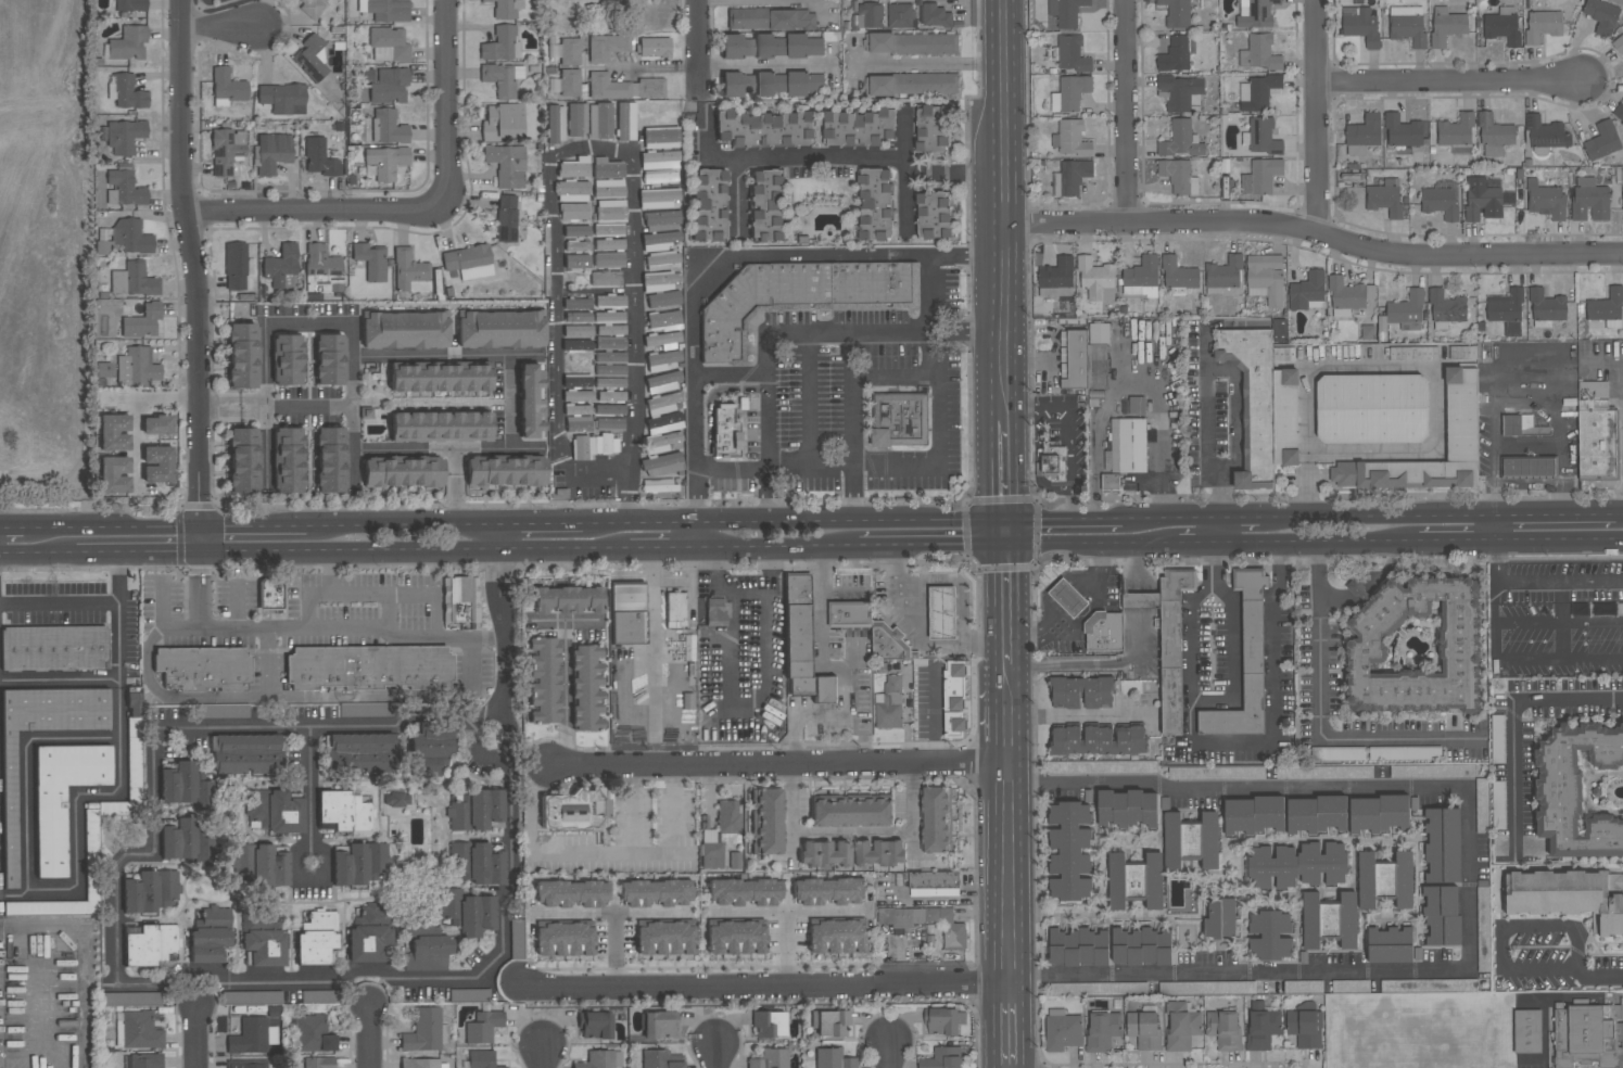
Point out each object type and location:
building: (130, 5)
building: (312, 5)
building: (504, 8)
building: (388, 10)
building: (1066, 12)
building: (1176, 13)
building: (1256, 13)
building: (870, 15)
building: (902, 15)
building: (1600, 15)
building: (935, 16)
building: (771, 20)
building: (1360, 25)
building: (1407, 25)
building: (1543, 25)
building: (1446, 26)
building: (1502, 26)
road: (218, 29)
building: (1619, 41)
building: (128, 43)
building: (913, 43)
building: (388, 44)
building: (500, 44)
building: (606, 47)
building: (654, 47)
road: (698, 47)
building: (771, 47)
building: (566, 51)
building: (1259, 53)
building: (1072, 54)
building: (1175, 55)
building: (313, 58)
road: (937, 64)
road: (762, 66)
road: (655, 67)
building: (502, 79)
building: (569, 82)
road: (1450, 84)
building: (738, 85)
building: (771, 85)
building: (806, 85)
building: (913, 85)
building: (389, 86)
building: (624, 87)
building: (226, 88)
building: (127, 92)
building: (1180, 92)
building: (1258, 92)
building: (1070, 93)
building: (283, 99)
road: (445, 101)
road: (1127, 111)
building: (1618, 113)
road: (1318, 115)
building: (575, 118)
building: (599, 120)
building: (624, 122)
building: (502, 123)
building: (555, 124)
building: (388, 127)
building: (859, 127)
building: (764, 129)
building: (933, 129)
building: (1404, 131)
building: (1456, 132)
building: (1545, 133)
building: (1364, 135)
building: (124, 137)
building: (1263, 137)
building: (1494, 137)
building: (660, 138)
building: (1073, 139)
building: (1181, 141)
building: (1602, 141)
building: (226, 151)
building: (271, 153)
road: (565, 153)
road: (847, 157)
building: (319, 158)
building: (660, 160)
building: (384, 163)
building: (506, 165)
building: (574, 167)
building: (607, 168)
building: (1260, 176)
building: (659, 177)
building: (1178, 177)
building: (1070, 178)
building: (124, 189)
building: (608, 189)
building: (572, 191)
road: (734, 196)
building: (1384, 198)
building: (658, 199)
building: (1482, 200)
building: (1546, 200)
building: (1441, 201)
building: (1589, 201)
road: (905, 204)
building: (708, 205)
building: (765, 205)
building: (875, 205)
road: (314, 209)
building: (610, 211)
building: (573, 212)
building: (933, 215)
building: (506, 218)
building: (661, 220)
road: (1308, 228)
building: (575, 230)
building: (608, 230)
building: (131, 237)
building: (658, 241)
building: (608, 244)
building: (576, 246)
road: (768, 256)
road: (990, 258)
road: (1018, 258)
building: (608, 259)
building: (660, 260)
building: (370, 262)
building: (468, 262)
building: (575, 262)
road: (191, 263)
building: (280, 265)
building: (237, 266)
building: (408, 269)
building: (321, 270)
building: (1223, 274)
building: (1178, 277)
building: (1056, 278)
building: (1141, 278)
building: (605, 279)
building: (1096, 279)
building: (1265, 279)
building: (132, 280)
building: (661, 281)
building: (1307, 292)
building: (1348, 294)
building: (799, 297)
building: (662, 300)
building: (609, 301)
building: (576, 304)
building: (1607, 306)
building: (1406, 308)
building: (1546, 308)
building: (1446, 309)
building: (1506, 310)
building: (608, 317)
building: (663, 320)
building: (142, 321)
road: (308, 322)
building: (404, 330)
building: (499, 330)
building: (610, 330)
road: (936, 336)
building: (610, 343)
building: (661, 343)
building: (576, 344)
road: (445, 355)
building: (242, 356)
building: (1085, 358)
building: (287, 359)
building: (329, 359)
building: (661, 360)
building: (610, 364)
building: (137, 367)
building: (104, 370)
building: (440, 379)
building: (663, 379)
building: (576, 381)
building: (609, 383)
road: (768, 387)
road: (1526, 392)
building: (578, 396)
building: (610, 396)
road: (510, 402)
building: (529, 402)
road: (852, 402)
building: (1253, 402)
road: (708, 403)
road: (265, 404)
building: (662, 404)
road: (352, 405)
road: (136, 406)
road: (275, 406)
building: (1132, 406)
road: (1030, 407)
building: (1371, 408)
building: (578, 409)
building: (609, 409)
building: (366, 414)
building: (1461, 415)
building: (901, 420)
building: (578, 423)
building: (609, 423)
building: (663, 423)
building: (156, 424)
building: (440, 425)
building: (1521, 427)
road: (939, 430)
building: (114, 432)
building: (731, 432)
road: (1208, 432)
building: (1598, 438)
building: (660, 442)
road: (1307, 442)
building: (594, 446)
building: (1127, 447)
road: (696, 448)
road: (446, 449)
road: (1070, 452)
building: (330, 459)
building: (288, 460)
building: (1054, 460)
building: (243, 461)
building: (157, 465)
building: (662, 465)
road: (774, 467)
building: (1527, 468)
building: (505, 472)
building: (403, 473)
building: (114, 475)
building: (1111, 483)
road: (1529, 486)
road: (624, 499)
road: (1619, 513)
road: (1378, 514)
road: (1556, 514)
road: (1166, 517)
road: (1235, 517)
road: (1005, 518)
traffic signals: (1019, 518)
road: (1070, 518)
traffic signals: (991, 519)
road: (786, 521)
road: (537, 524)
road: (12, 525)
road: (112, 525)
road: (253, 525)
road: (400, 525)
traffic signals: (200, 526)
road: (1496, 529)
road: (1210, 531)
road: (991, 532)
road: (1019, 532)
road: (698, 537)
road: (200, 539)
road: (498, 539)
road: (1560, 543)
road: (1458, 544)
road: (1315, 545)
traffic signals: (992, 546)
road: (1006, 546)
traffic signals: (1020, 546)
road: (1100, 546)
road: (1195, 546)
road: (925, 547)
road: (779, 551)
road: (665, 552)
road: (138, 554)
traffic signals: (200, 554)
road: (416, 554)
road: (38, 555)
road: (487, 582)
road: (1320, 582)
road: (1540, 583)
road: (960, 585)
building: (797, 588)
building: (1356, 588)
road: (200, 592)
road: (376, 593)
building: (270, 595)
road: (504, 596)
building: (1067, 598)
building: (567, 599)
building: (460, 600)
road: (60, 603)
road: (1020, 606)
building: (675, 610)
road: (388, 611)
building: (717, 612)
building: (850, 612)
building: (942, 613)
building: (626, 614)
gas station: (943, 614)
road: (765, 615)
road: (321, 628)
road: (920, 628)
building: (797, 633)
building: (1104, 633)
road: (486, 637)
building: (1168, 641)
building: (888, 643)
building: (53, 648)
building: (1416, 648)
road: (821, 654)
road: (654, 660)
road: (270, 664)
building: (1244, 664)
road: (1099, 665)
building: (203, 667)
building: (370, 667)
building: (797, 670)
building: (542, 681)
building: (801, 687)
building: (586, 688)
building: (825, 690)
building: (1081, 692)
road: (565, 696)
road: (275, 698)
building: (954, 699)
building: (889, 704)
building: (365, 710)
building: (223, 711)
road: (935, 716)
road: (1083, 716)
road: (800, 719)
road: (1513, 724)
building: (132, 725)
road: (332, 728)
building: (1497, 739)
building: (1098, 740)
road: (1342, 741)
road: (1229, 745)
building: (363, 752)
building: (1397, 753)
building: (246, 754)
building: (1339, 754)
road: (996, 763)
road: (784, 765)
building: (1096, 767)
building: (1332, 772)
building: (1432, 772)
building: (1216, 773)
road: (119, 777)
road: (1246, 784)
building: (187, 787)
road: (312, 790)
building: (1581, 791)
building: (62, 797)
road: (504, 797)
building: (1499, 799)
building: (394, 801)
building: (1482, 805)
building: (9, 809)
building: (1127, 809)
building: (343, 811)
building: (476, 811)
building: (573, 811)
building: (851, 813)
building: (1379, 814)
building: (1254, 815)
building: (1316, 815)
building: (937, 821)
building: (766, 822)
road: (1022, 823)
road: (849, 834)
building: (91, 835)
building: (721, 835)
building: (1191, 841)
building: (187, 842)
building: (1443, 846)
road: (312, 851)
building: (1069, 851)
building: (824, 853)
building: (878, 853)
road: (134, 855)
road: (580, 855)
building: (259, 864)
building: (359, 864)
building: (474, 864)
building: (1297, 866)
road: (1472, 879)
building: (1385, 880)
building: (936, 881)
building: (1134, 881)
building: (828, 891)
building: (151, 892)
building: (743, 892)
building: (571, 893)
building: (655, 893)
building: (1567, 897)
building: (50, 907)
building: (468, 913)
road: (750, 913)
road: (791, 913)
building: (1442, 915)
building: (215, 916)
road: (610, 916)
building: (1220, 919)
building: (1330, 921)
building: (926, 924)
building: (1483, 929)
building: (370, 933)
building: (1270, 935)
building: (836, 937)
building: (317, 938)
building: (516, 938)
building: (735, 938)
building: (664, 939)
building: (263, 940)
building: (563, 940)
building: (207, 944)
building: (423, 944)
building: (1390, 945)
building: (1141, 946)
building: (1078, 948)
road: (613, 951)
road: (1567, 972)
road: (1248, 977)
road: (314, 981)
road: (1010, 981)
road: (758, 984)
building: (1429, 986)
building: (1303, 987)
building: (1351, 987)
building: (1207, 988)
building: (1099, 989)
building: (267, 996)
building: (320, 996)
building: (130, 999)
building: (943, 1021)
building: (829, 1022)
building: (768, 1024)
building: (659, 1025)
road: (996, 1025)
road: (1025, 1025)
building: (595, 1026)
building: (1181, 1026)
building: (482, 1027)
building: (1305, 1028)
building: (1263, 1029)
building: (1102, 1030)
building: (1143, 1030)
building: (1225, 1030)
building: (140, 1031)
building: (426, 1031)
building: (1062, 1031)
building: (1526, 1031)
building: (313, 1034)
road: (368, 1035)
building: (1588, 1035)
road: (196, 1037)
building: (252, 1037)
road: (891, 1055)
road: (715, 1056)
road: (542, 1057)
building: (833, 1058)
building: (943, 1058)
building: (480, 1059)
building: (596, 1059)
building: (658, 1059)
building: (770, 1059)
building: (147, 1060)
building: (318, 1063)
building: (246, 1064)
building: (422, 1064)

